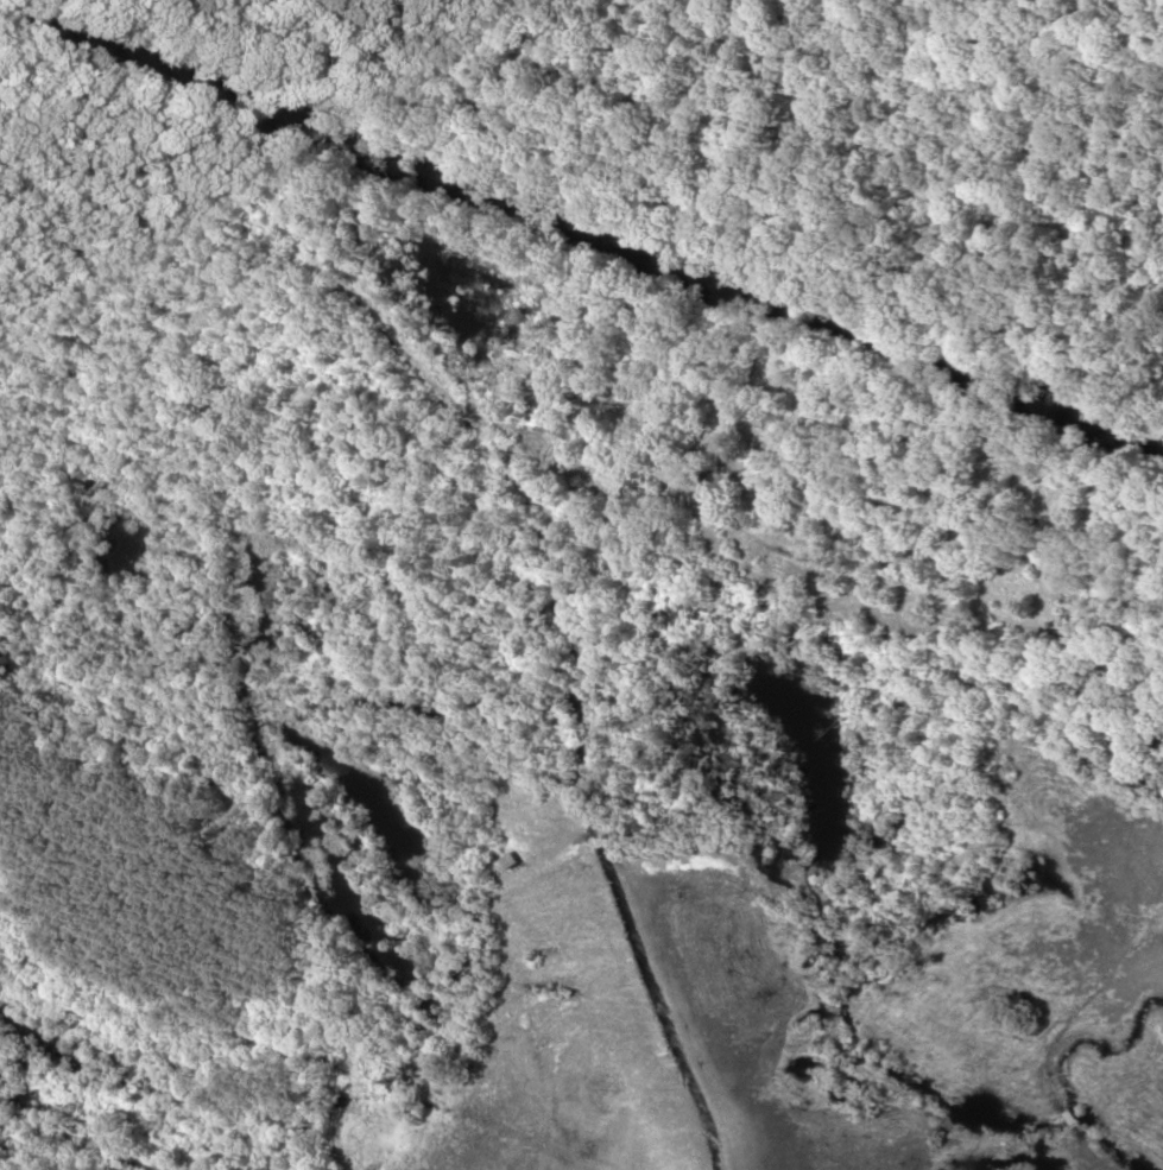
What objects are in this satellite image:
building: (508, 861)

